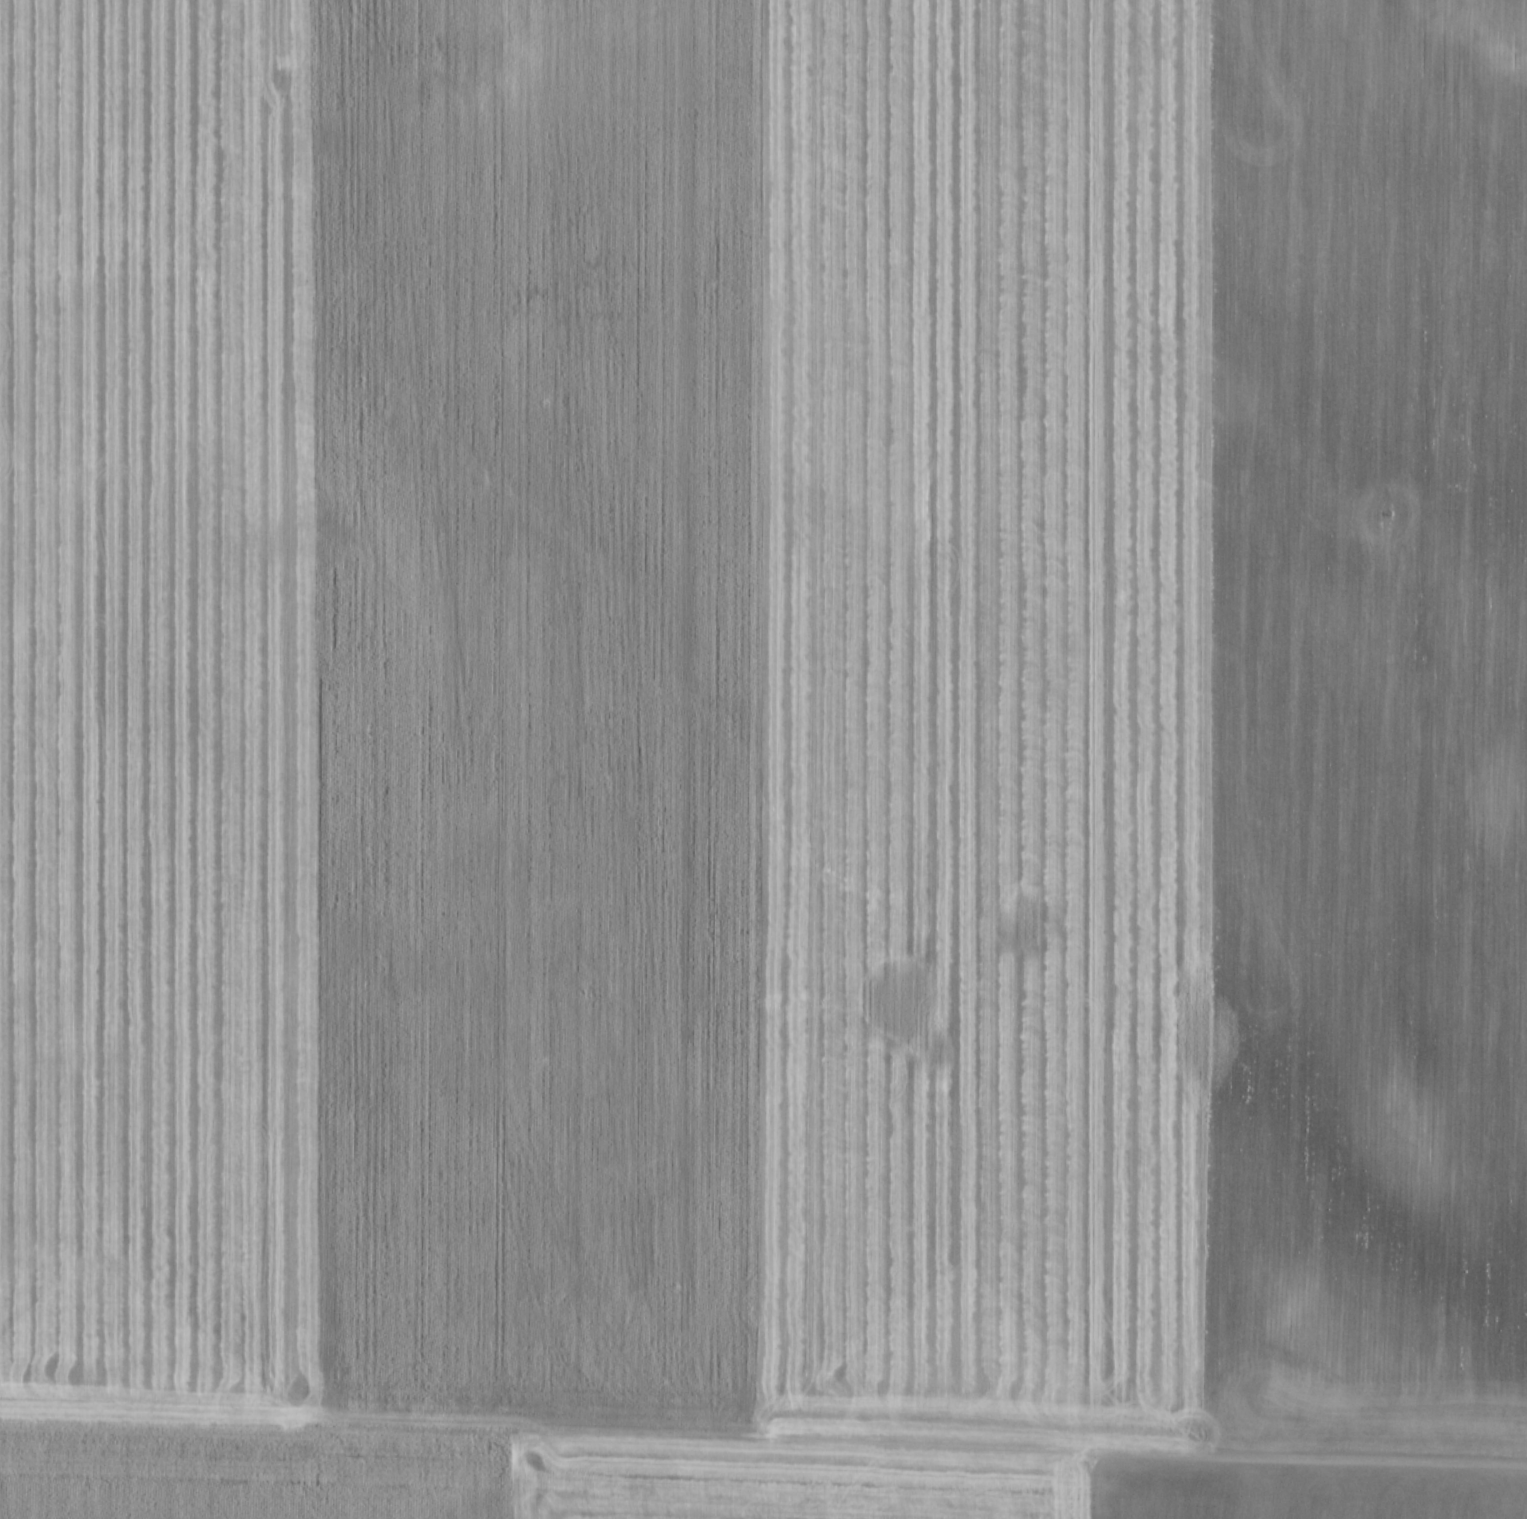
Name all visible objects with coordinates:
road: (763, 1505)

